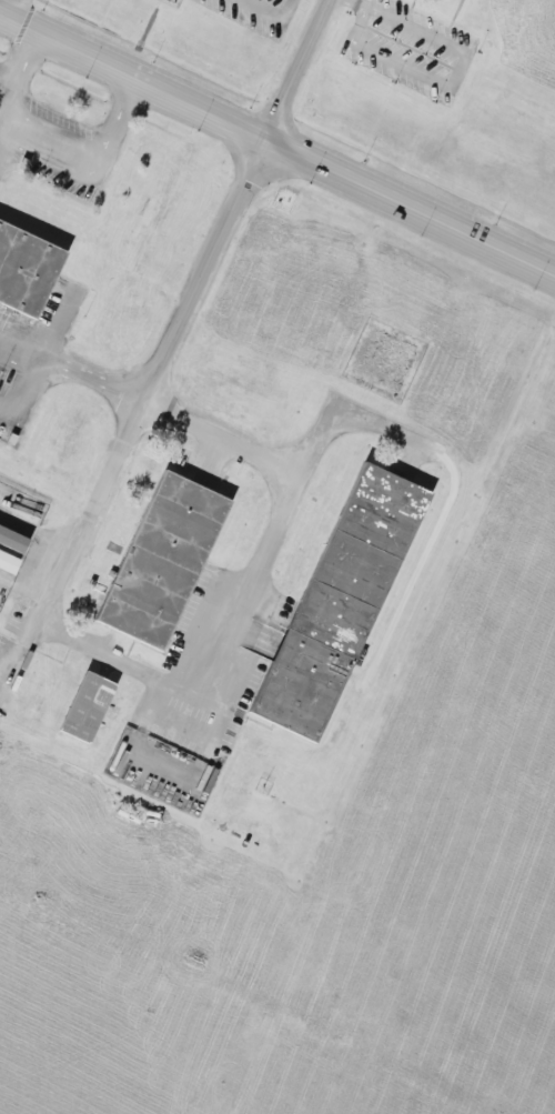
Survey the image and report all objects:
road: (356, 0)
road: (362, 3)
road: (14, 9)
parking lot: (260, 12)
road: (269, 13)
parking lot: (408, 44)
road: (22, 62)
road: (450, 84)
road: (74, 142)
road: (276, 143)
building: (23, 265)
road: (174, 340)
road: (19, 352)
road: (92, 381)
road: (27, 384)
road: (8, 407)
road: (337, 413)
road: (37, 530)
building: (11, 539)
building: (160, 559)
building: (6, 562)
road: (251, 580)
road: (24, 592)
building: (337, 601)
building: (84, 705)

